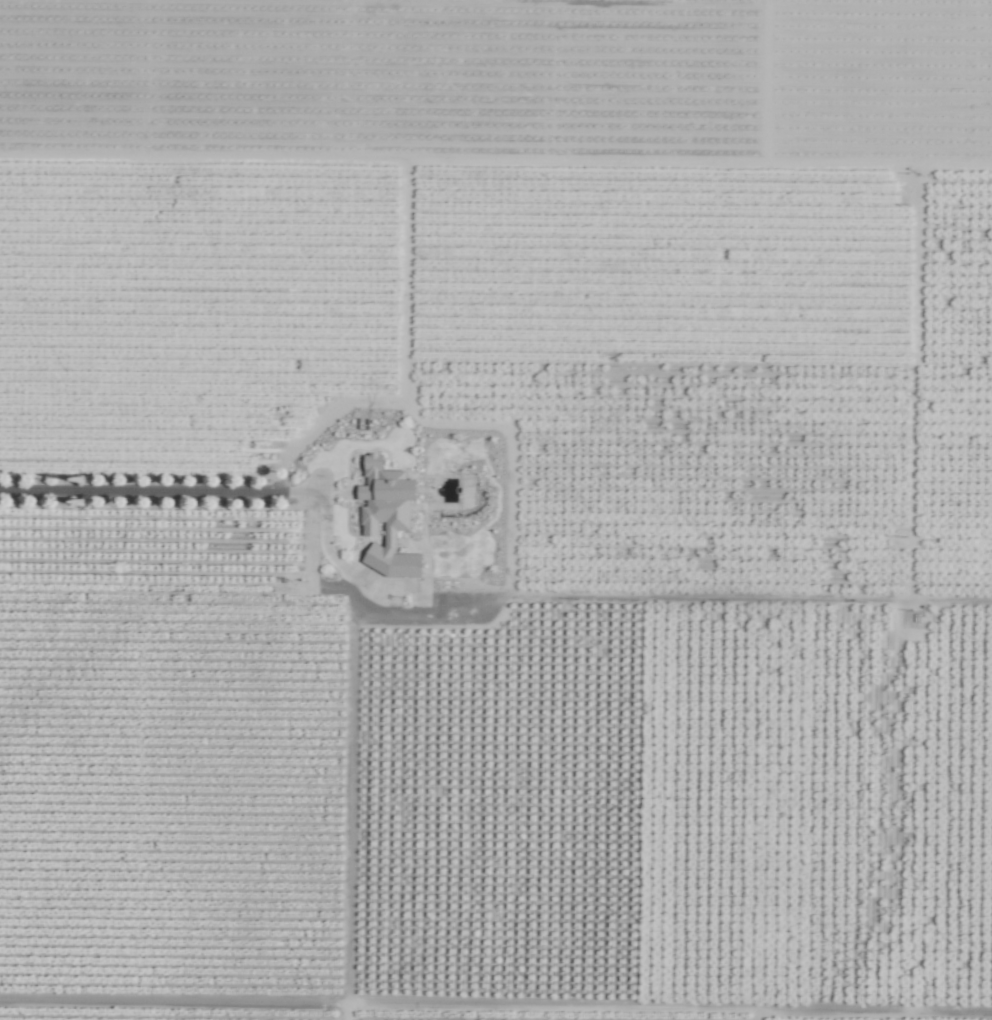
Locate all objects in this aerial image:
road: (161, 490)
building: (388, 516)
road: (457, 588)

